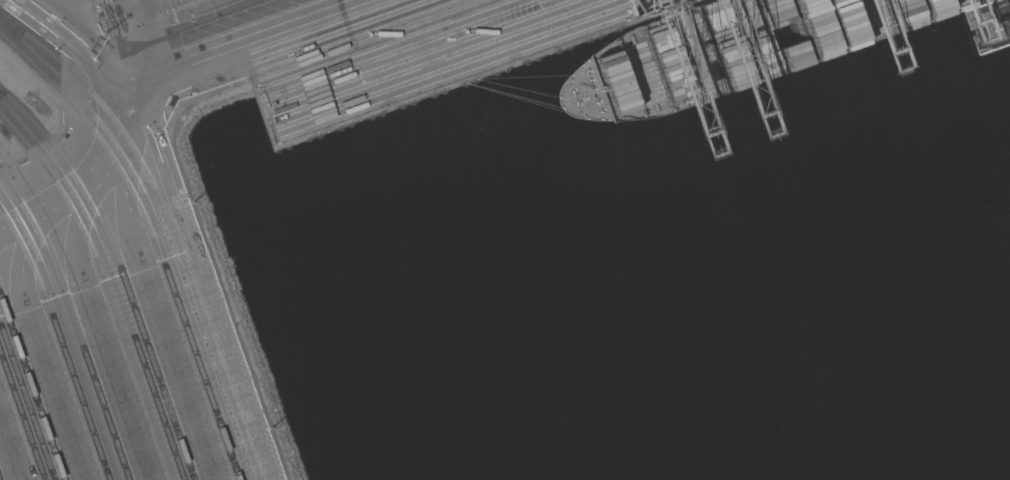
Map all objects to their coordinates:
road: (155, 56)
railway: (76, 178)
railway: (169, 222)
railway: (160, 229)
railway: (154, 236)
railway: (113, 277)
railway: (106, 285)
railway: (73, 320)
railway: (67, 330)
railway: (60, 339)
railway: (159, 382)
railway: (33, 387)
railway: (27, 401)
railway: (22, 414)

